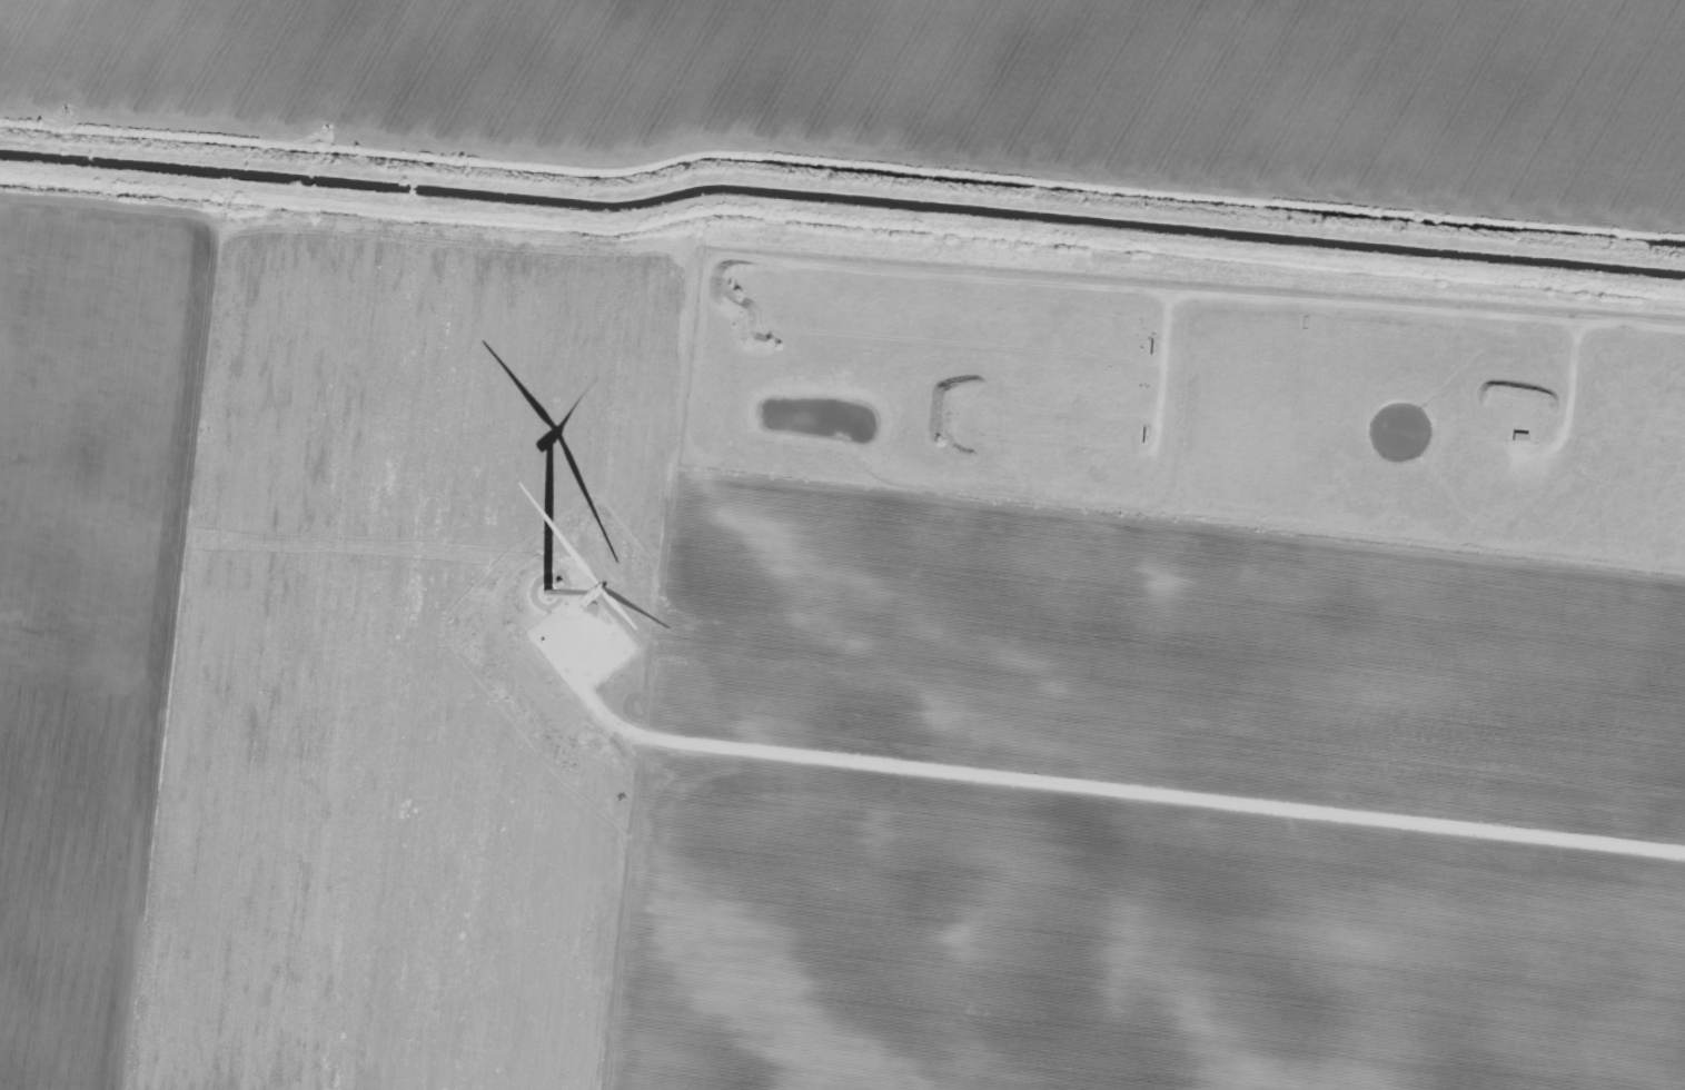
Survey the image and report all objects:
wind turbine: (547, 588)

